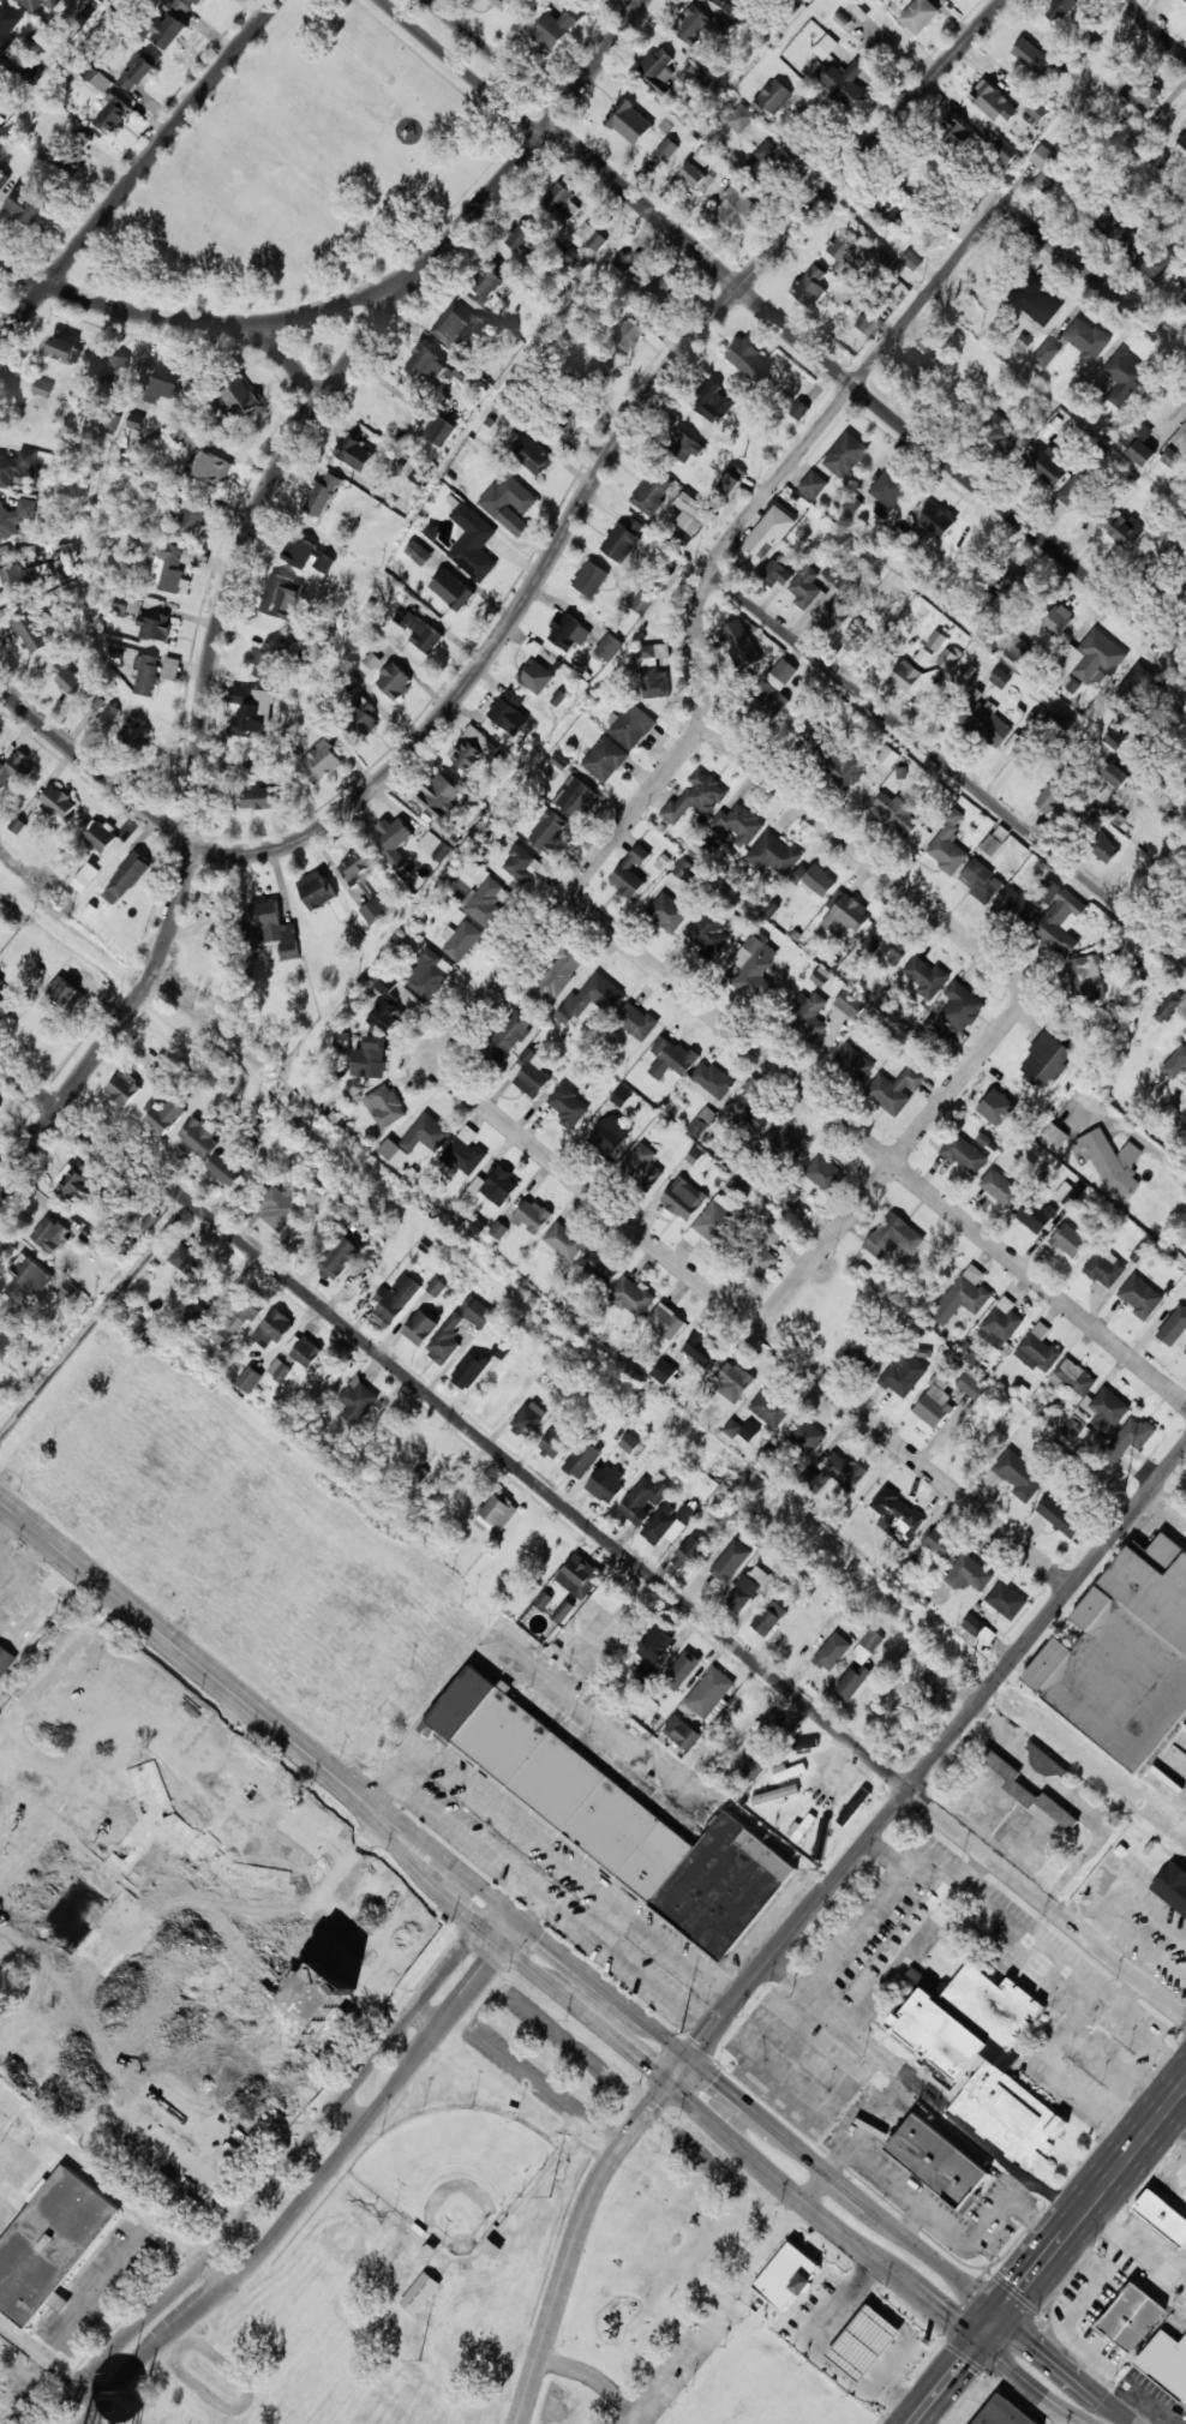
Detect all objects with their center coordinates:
building: (1185, 0)
building: (200, 2)
building: (38, 4)
building: (503, 4)
building: (727, 5)
building: (1060, 10)
building: (858, 11)
building: (918, 16)
building: (840, 20)
building: (8, 22)
building: (169, 24)
building: (693, 25)
building: (556, 28)
road: (1156, 28)
building: (820, 52)
road: (499, 55)
building: (1032, 56)
building: (1, 66)
road: (457, 68)
building: (658, 70)
building: (136, 72)
building: (34, 74)
building: (91, 74)
building: (841, 83)
building: (1142, 95)
building: (774, 97)
building: (992, 101)
building: (1036, 110)
building: (112, 113)
building: (739, 118)
building: (629, 122)
building: (953, 130)
building: (1182, 140)
building: (665, 150)
building: (73, 151)
building: (1004, 151)
building: (765, 162)
building: (1046, 167)
road: (139, 172)
building: (696, 172)
building: (2, 179)
building: (561, 203)
building: (28, 207)
building: (735, 209)
building: (886, 215)
building: (591, 239)
building: (522, 240)
building: (847, 252)
building: (629, 255)
building: (570, 256)
building: (1146, 259)
building: (899, 262)
road: (1094, 283)
building: (655, 285)
building: (809, 286)
building: (485, 287)
building: (1036, 299)
road: (328, 306)
road: (175, 317)
building: (865, 322)
building: (456, 324)
building: (629, 334)
building: (1086, 337)
building: (934, 342)
building: (65, 349)
building: (1043, 357)
building: (593, 360)
building: (749, 360)
building: (427, 365)
building: (112, 370)
building: (916, 370)
building: (1124, 377)
building: (164, 383)
road: (867, 384)
road: (853, 387)
building: (42, 388)
building: (241, 396)
building: (711, 402)
building: (798, 409)
building: (571, 414)
building: (134, 421)
building: (1139, 427)
building: (441, 430)
building: (1001, 432)
building: (683, 445)
building: (354, 453)
building: (1140, 453)
building: (845, 455)
building: (532, 456)
building: (1170, 457)
building: (1048, 465)
building: (16, 467)
building: (212, 469)
building: (732, 480)
building: (813, 484)
building: (888, 487)
building: (1077, 491)
building: (652, 492)
building: (323, 493)
building: (509, 503)
building: (853, 503)
building: (190, 511)
building: (14, 517)
building: (689, 519)
building: (935, 520)
building: (1119, 526)
building: (763, 538)
building: (623, 539)
building: (473, 543)
building: (418, 552)
building: (309, 556)
road: (238, 562)
building: (178, 565)
road: (545, 565)
building: (835, 570)
building: (774, 575)
building: (591, 579)
building: (12, 580)
building: (843, 583)
building: (804, 586)
building: (1008, 588)
building: (451, 589)
building: (281, 597)
building: (642, 603)
building: (834, 617)
building: (1058, 620)
building: (155, 627)
building: (35, 630)
building: (419, 630)
building: (568, 633)
building: (857, 638)
building: (936, 640)
building: (741, 642)
building: (609, 647)
building: (1014, 652)
building: (923, 657)
building: (950, 658)
building: (371, 660)
building: (1086, 663)
road: (1161, 666)
building: (170, 669)
building: (654, 671)
building: (146, 674)
building: (905, 675)
building: (535, 676)
building: (1000, 677)
building: (68, 678)
building: (394, 681)
building: (1136, 686)
building: (774, 690)
building: (247, 712)
building: (509, 712)
building: (109, 713)
building: (361, 713)
building: (989, 724)
building: (630, 726)
building: (134, 732)
building: (1116, 737)
building: (471, 750)
building: (887, 756)
building: (605, 759)
building: (319, 762)
road: (948, 765)
building: (13, 767)
building: (1114, 774)
building: (1052, 792)
building: (439, 796)
building: (575, 796)
building: (696, 797)
building: (257, 798)
building: (60, 802)
building: (896, 813)
building: (17, 825)
building: (738, 825)
building: (549, 831)
road: (616, 833)
building: (101, 837)
building: (394, 840)
building: (995, 840)
building: (947, 845)
building: (1104, 849)
building: (442, 851)
building: (772, 854)
road: (867, 857)
building: (522, 864)
building: (357, 866)
building: (687, 870)
building: (631, 872)
building: (85, 878)
building: (125, 879)
building: (815, 879)
building: (981, 880)
building: (316, 890)
building: (1049, 891)
building: (487, 902)
building: (1018, 906)
building: (373, 911)
building: (667, 912)
building: (846, 914)
building: (1060, 923)
building: (272, 928)
building: (223, 929)
building: (708, 929)
building: (460, 940)
building: (886, 944)
building: (753, 968)
building: (558, 974)
building: (429, 975)
building: (80, 976)
building: (924, 976)
building: (1086, 976)
building: (0, 981)
building: (385, 984)
building: (66, 994)
building: (589, 998)
building: (5, 1001)
building: (850, 1004)
building: (960, 1006)
building: (1168, 1006)
building: (808, 1013)
building: (384, 1015)
building: (636, 1021)
building: (941, 1031)
building: (508, 1036)
building: (370, 1058)
building: (671, 1059)
building: (1046, 1060)
building: (852, 1063)
building: (1175, 1063)
building: (529, 1073)
road: (31, 1082)
building: (709, 1082)
building: (124, 1088)
building: (896, 1089)
building: (621, 1096)
building: (0, 1105)
building: (388, 1106)
building: (568, 1106)
building: (996, 1107)
building: (162, 1113)
building: (750, 1113)
building: (1185, 1120)
building: (702, 1121)
building: (426, 1133)
building: (609, 1135)
building: (1053, 1136)
building: (198, 1137)
building: (790, 1144)
road: (876, 1148)
building: (393, 1153)
building: (465, 1153)
building: (963, 1154)
road: (894, 1160)
building: (1113, 1163)
building: (642, 1165)
building: (223, 1169)
building: (821, 1175)
building: (74, 1181)
building: (1000, 1187)
building: (491, 1189)
building: (683, 1198)
building: (278, 1208)
building: (1035, 1215)
building: (532, 1216)
building: (149, 1221)
building: (712, 1221)
building: (498, 1229)
building: (50, 1234)
building: (889, 1238)
building: (306, 1239)
building: (1068, 1240)
building: (564, 1241)
building: (761, 1255)
building: (339, 1258)
building: (186, 1261)
building: (603, 1268)
building: (1103, 1270)
building: (30, 1274)
building: (436, 1287)
building: (963, 1295)
building: (633, 1297)
building: (1139, 1297)
building: (395, 1299)
building: (477, 1311)
building: (10, 1312)
building: (196, 1315)
building: (236, 1318)
building: (665, 1321)
road: (750, 1323)
building: (1000, 1323)
building: (1174, 1327)
building: (420, 1328)
building: (272, 1329)
building: (6, 1340)
building: (445, 1340)
building: (303, 1349)
building: (700, 1349)
building: (1038, 1349)
building: (865, 1351)
building: (1185, 1351)
building: (280, 1369)
building: (469, 1370)
building: (664, 1371)
building: (904, 1373)
building: (1072, 1377)
building: (248, 1379)
building: (733, 1381)
building: (971, 1385)
building: (358, 1400)
building: (934, 1405)
building: (1107, 1406)
building: (769, 1408)
building: (528, 1419)
building: (732, 1428)
building: (805, 1435)
building: (1130, 1440)
building: (555, 1442)
building: (629, 1443)
building: (582, 1459)
building: (834, 1474)
building: (1019, 1476)
building: (606, 1483)
building: (643, 1501)
building: (496, 1513)
building: (898, 1515)
building: (1059, 1518)
building: (665, 1521)
building: (942, 1545)
building: (687, 1552)
road: (16, 1554)
road: (627, 1556)
building: (731, 1561)
building: (969, 1574)
building: (579, 1576)
building: (750, 1587)
building: (1006, 1600)
building: (563, 1611)
building: (34, 1614)
building: (768, 1617)
building: (978, 1629)
building: (867, 1646)
building: (653, 1650)
building: (832, 1652)
building: (1124, 1656)
building: (5, 1660)
building: (682, 1669)
building: (852, 1681)
building: (708, 1692)
building: (741, 1711)
building: (768, 1728)
building: (681, 1732)
building: (805, 1744)
road: (935, 1752)
building: (1043, 1760)
building: (753, 1767)
building: (787, 1771)
building: (1028, 1792)
building: (774, 1795)
building: (853, 1807)
building: (611, 1818)
building: (799, 1829)
building: (822, 1839)
building: (1172, 1889)
road: (501, 1913)
building: (186, 1925)
helipad: (290, 2028)
building: (956, 2066)
road: (331, 2139)
building: (938, 2161)
park: (453, 2172)
building: (1163, 2216)
road: (582, 2232)
building: (49, 2243)
road: (1049, 2255)
building: (786, 2276)
building: (420, 2293)
building: (1131, 2317)
building: (864, 2342)
building: (2, 2356)
building: (1166, 2363)
road: (1068, 2369)
building: (1, 2382)
road: (101, 2383)
road: (1024, 2384)
building: (1004, 2413)
road: (134, 2422)

